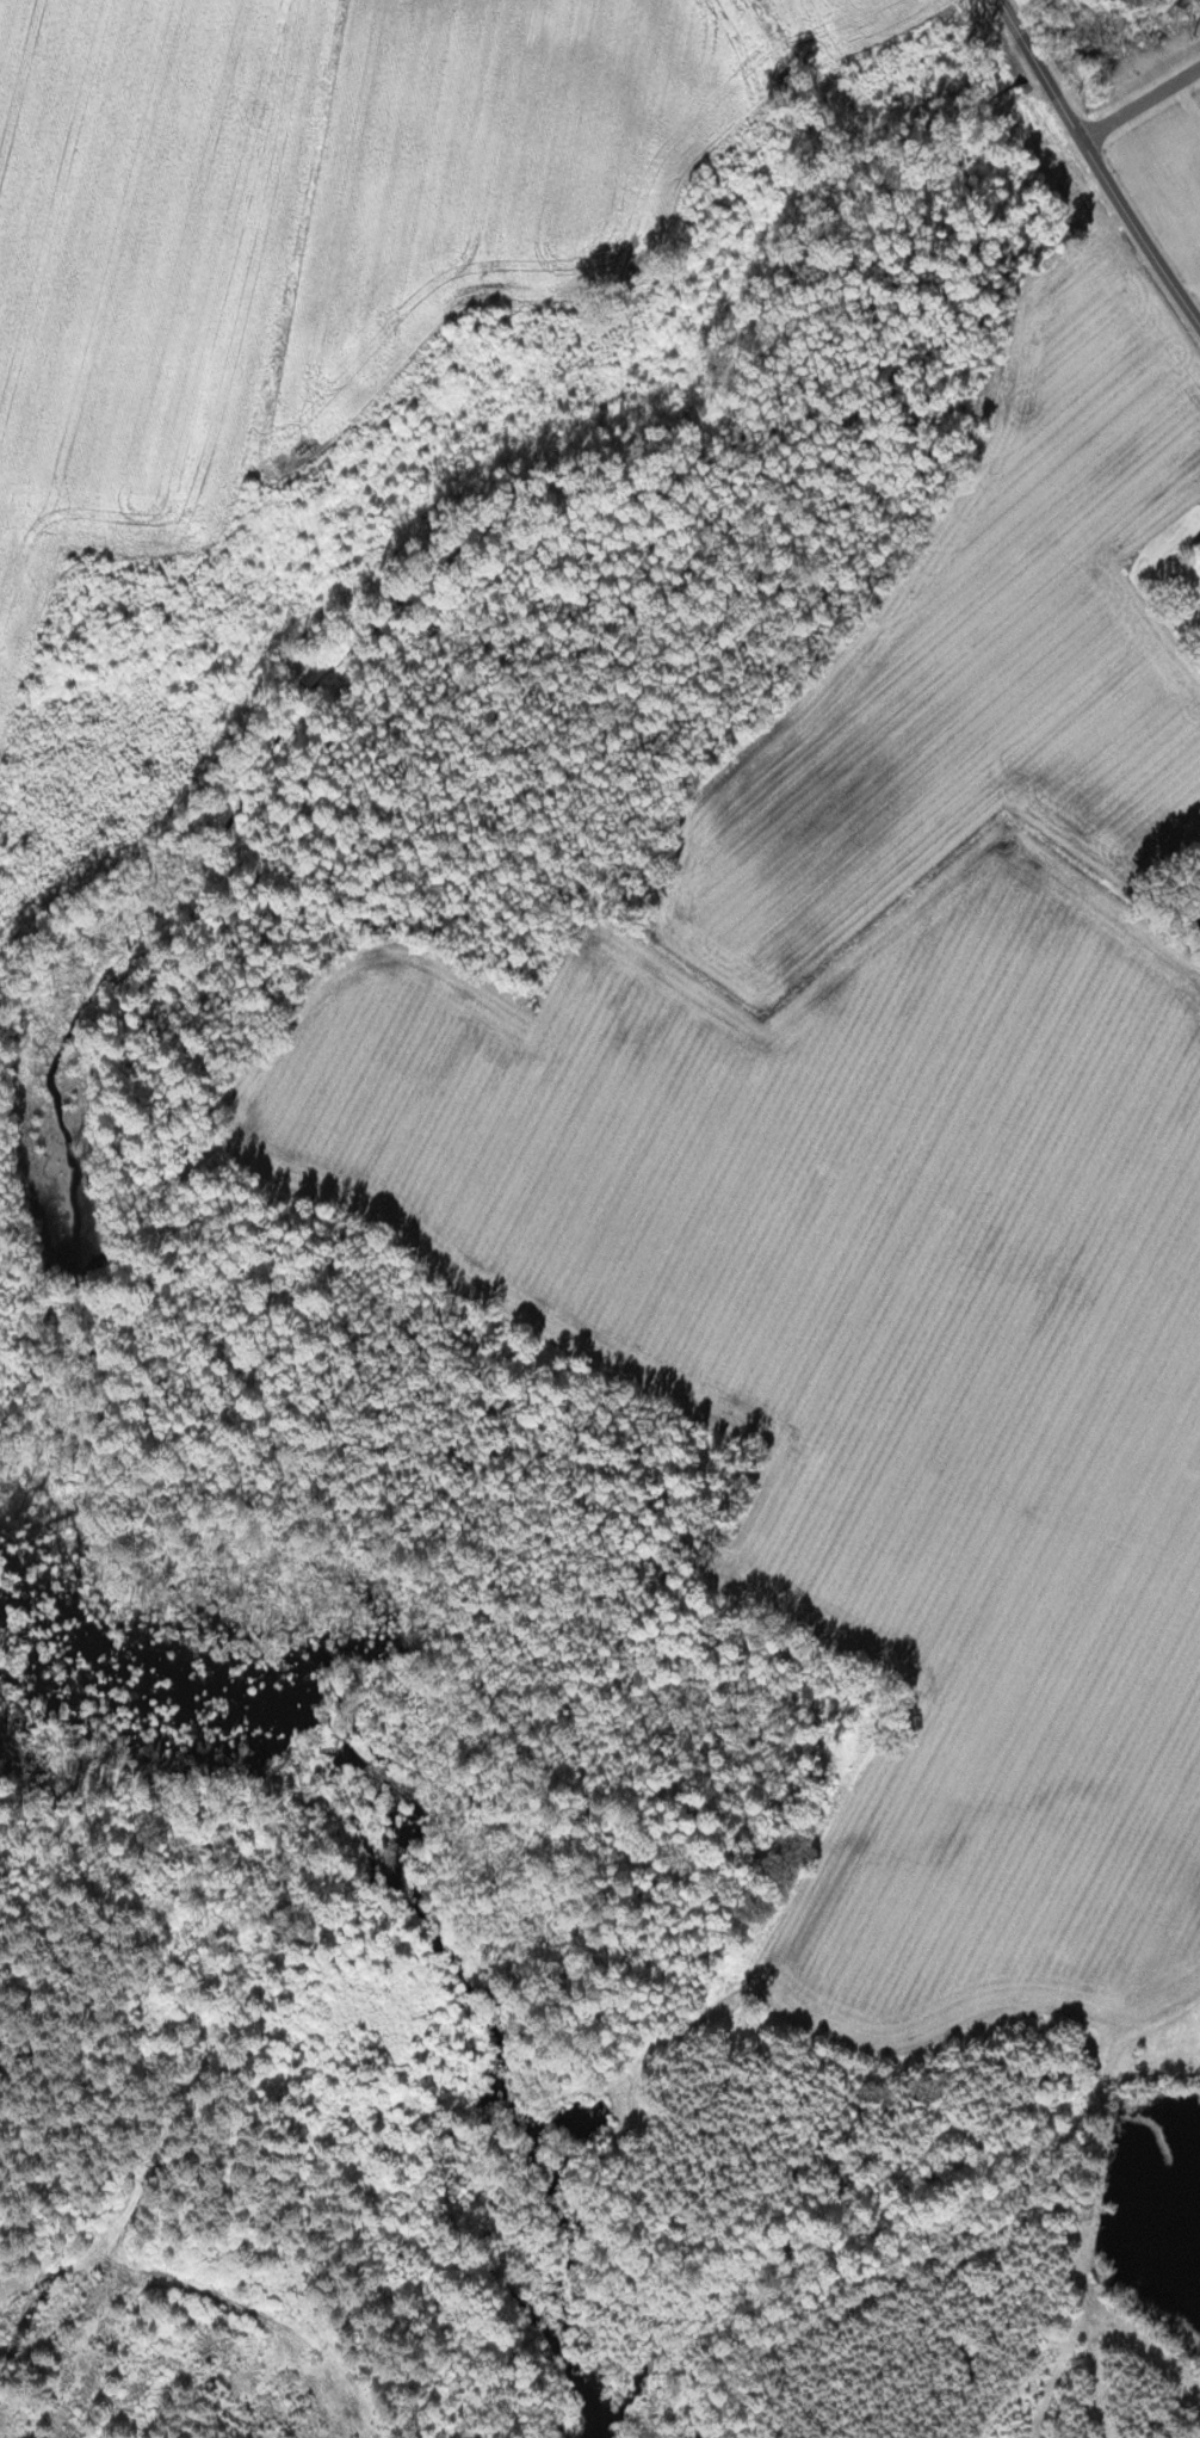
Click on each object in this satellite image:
road: (1143, 105)
road: (1097, 159)

